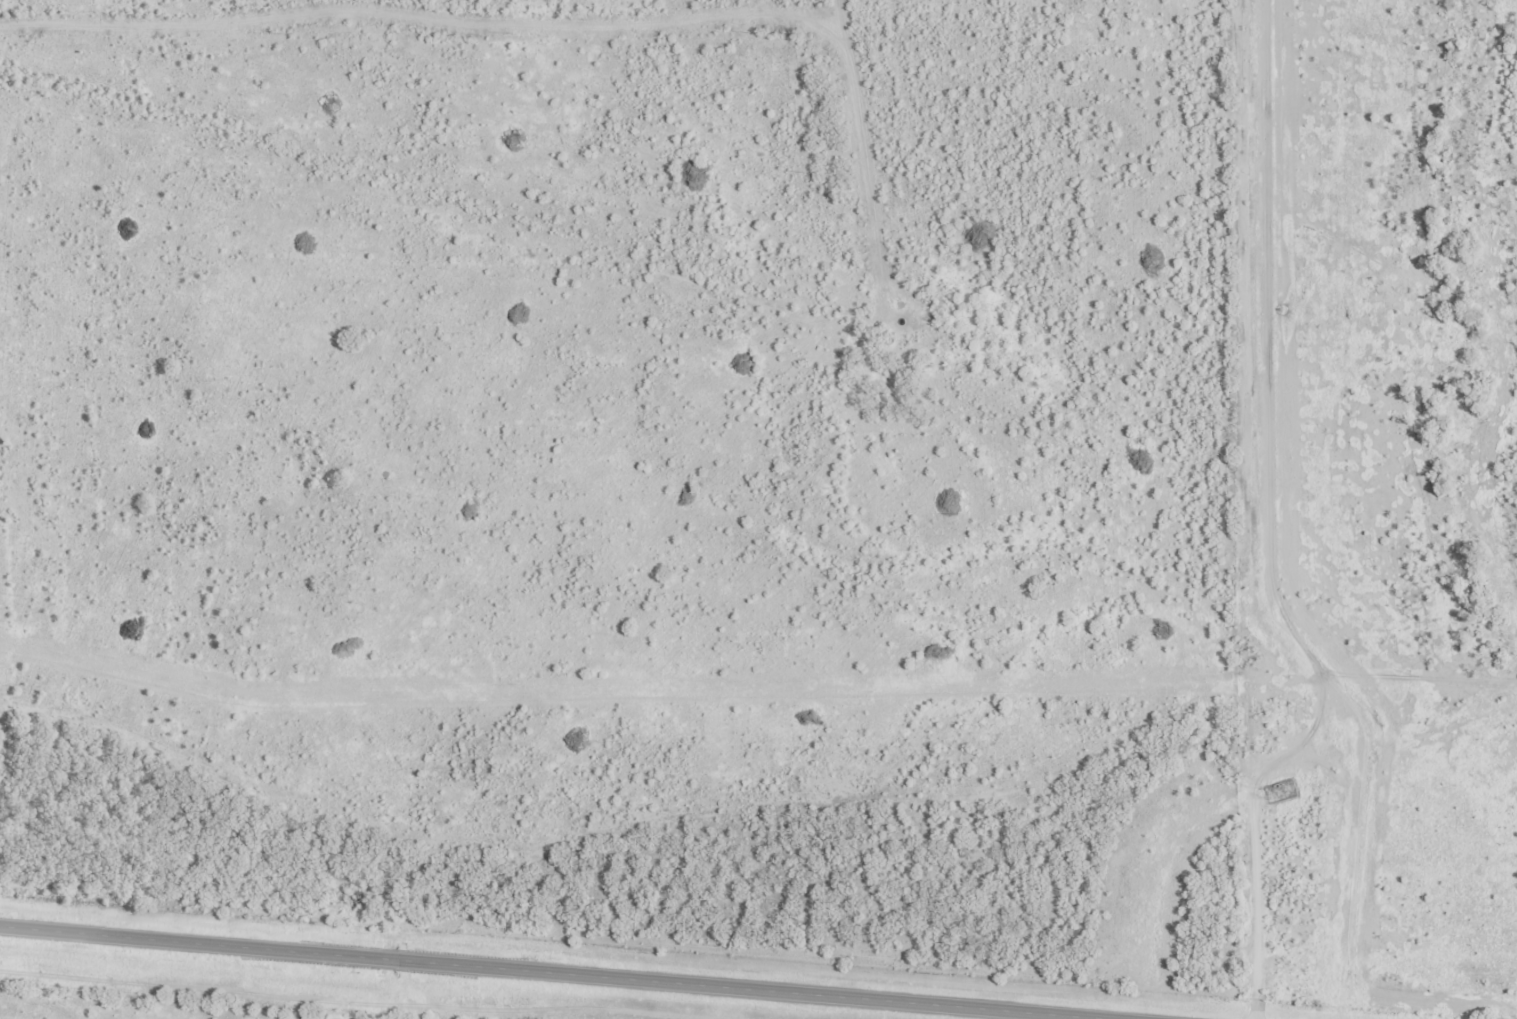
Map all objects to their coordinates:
road: (553, 972)

